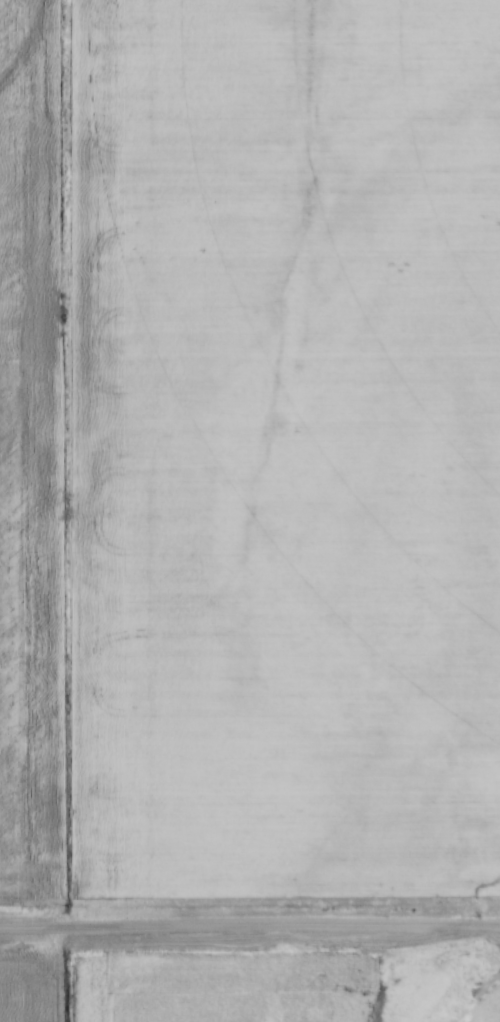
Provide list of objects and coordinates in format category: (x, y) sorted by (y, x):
road: (250, 928)
crop: (157, 988)
crop: (21, 993)

